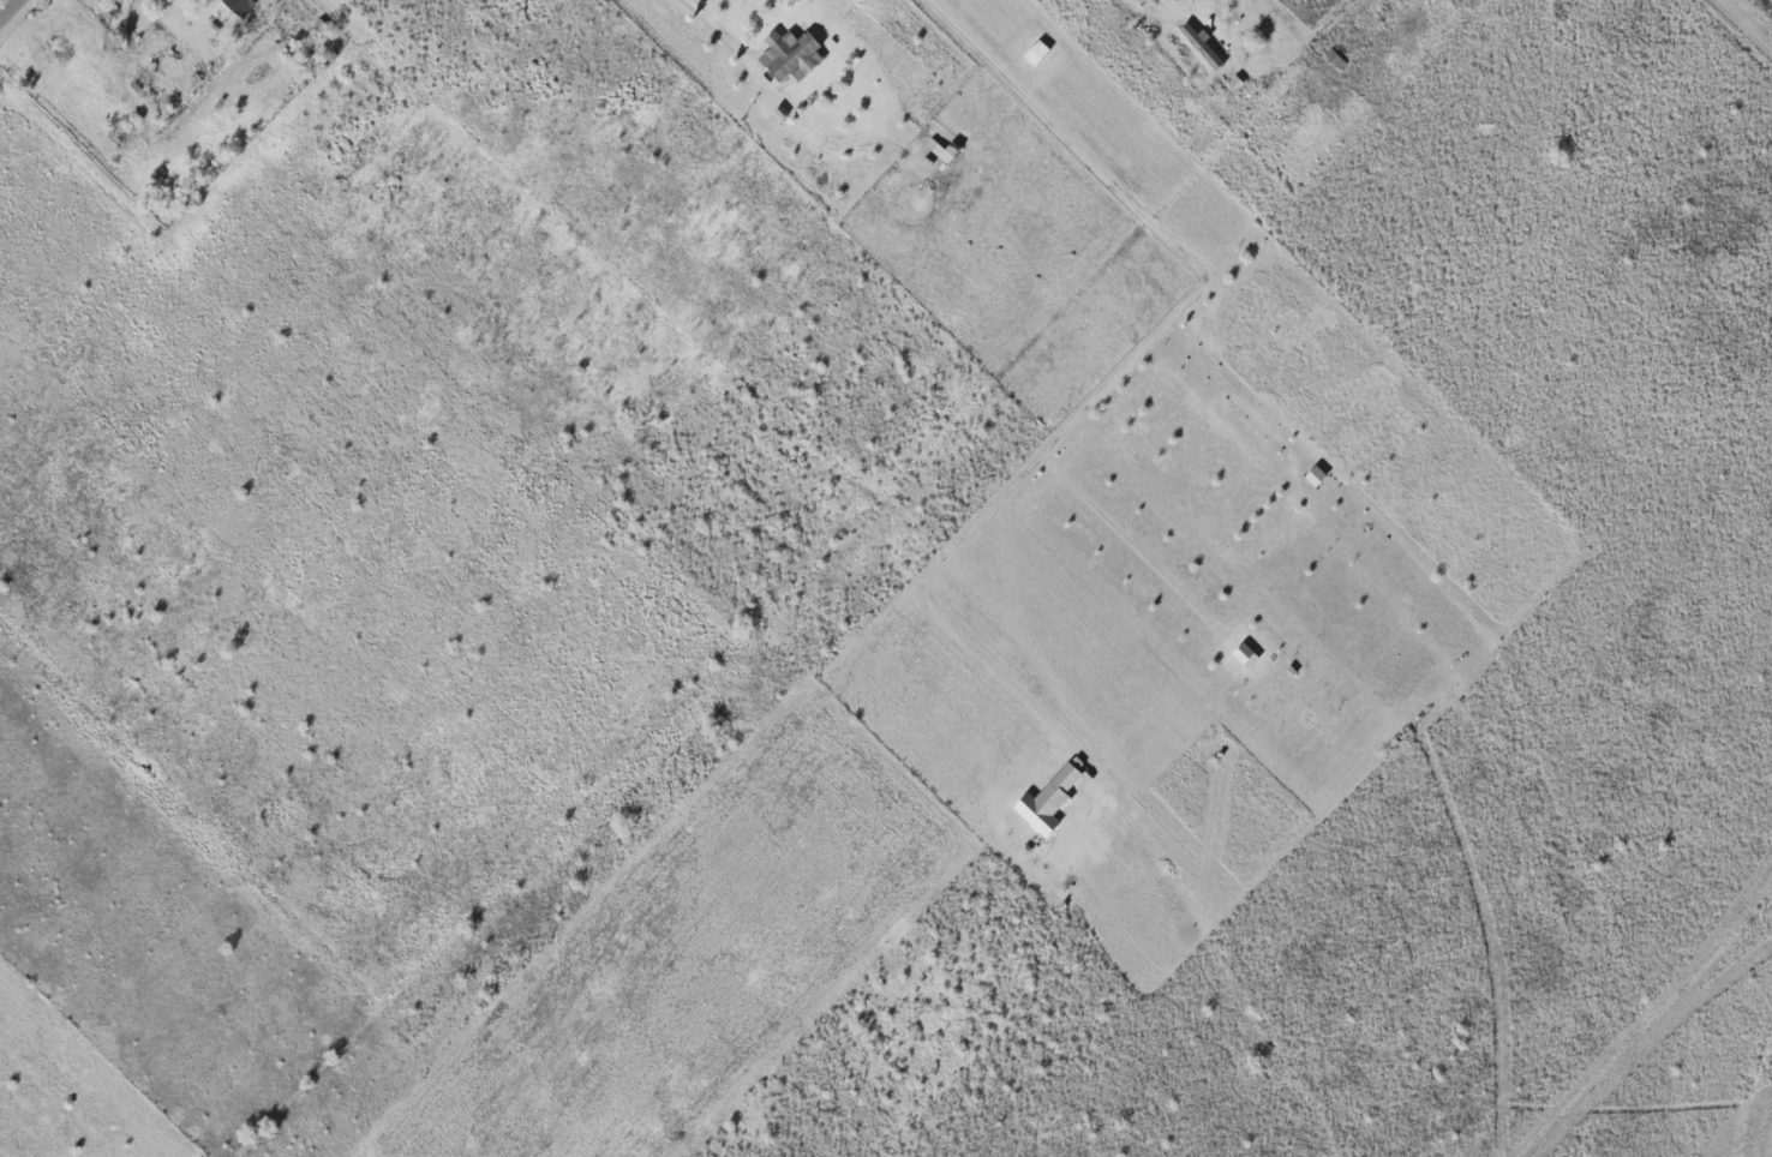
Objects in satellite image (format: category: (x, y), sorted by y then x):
building: (243, 6)
road: (12, 13)
road: (1756, 14)
road: (716, 22)
building: (1203, 47)
building: (792, 55)
road: (1136, 358)
building: (1318, 475)
building: (1247, 654)
building: (1050, 801)

